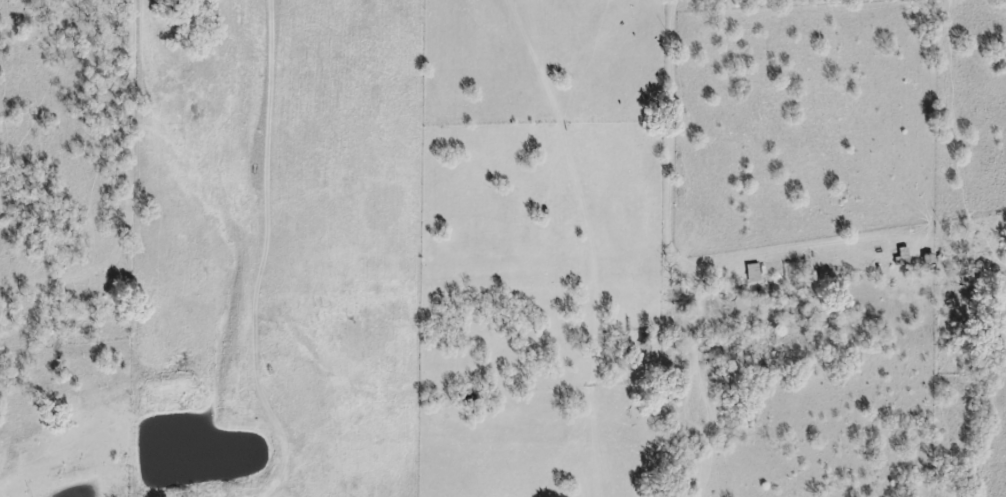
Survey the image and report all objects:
road: (282, 217)

